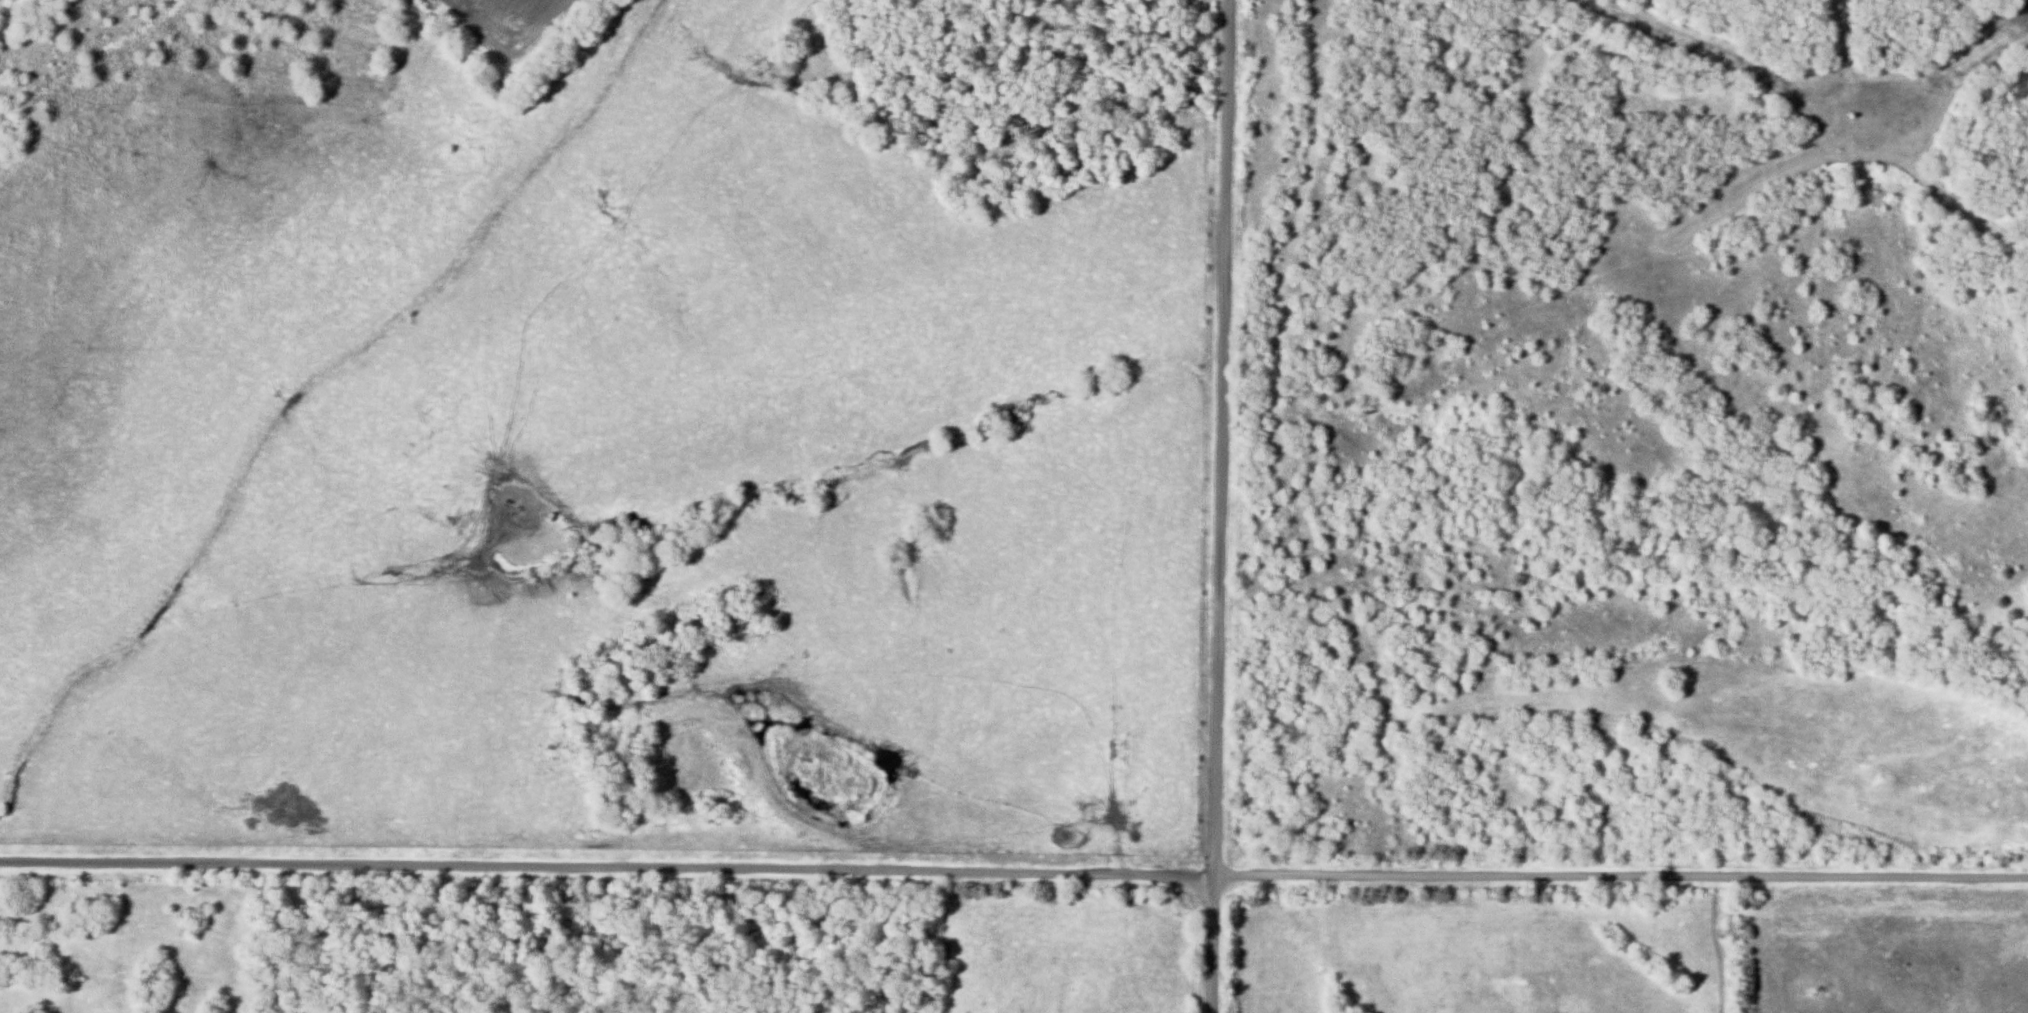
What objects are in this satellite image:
road: (1220, 506)
road: (606, 868)
road: (1620, 876)

